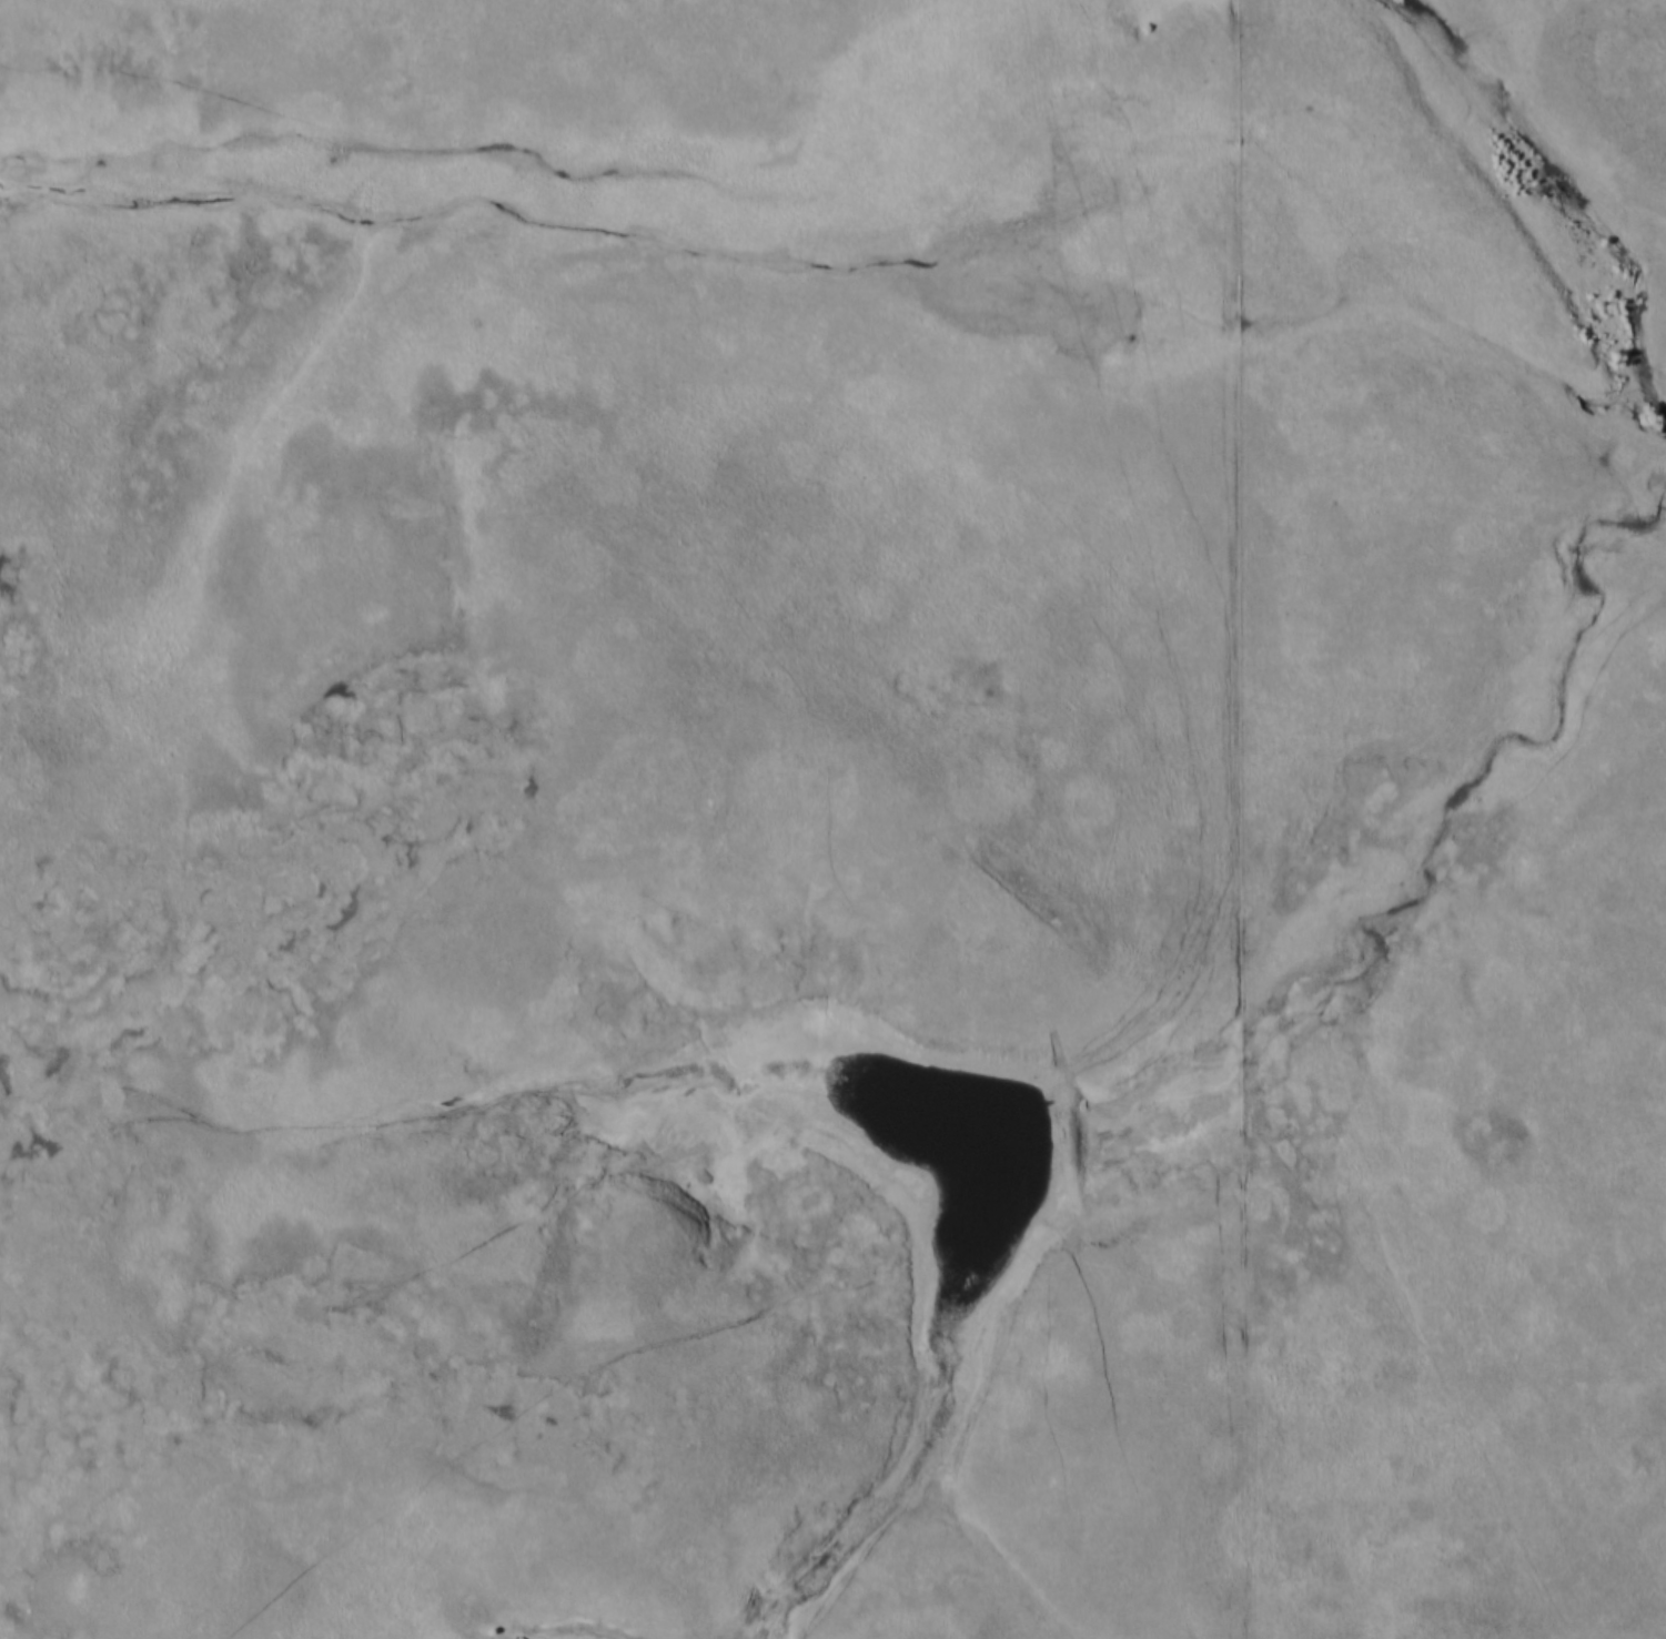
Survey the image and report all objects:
road: (1245, 819)

